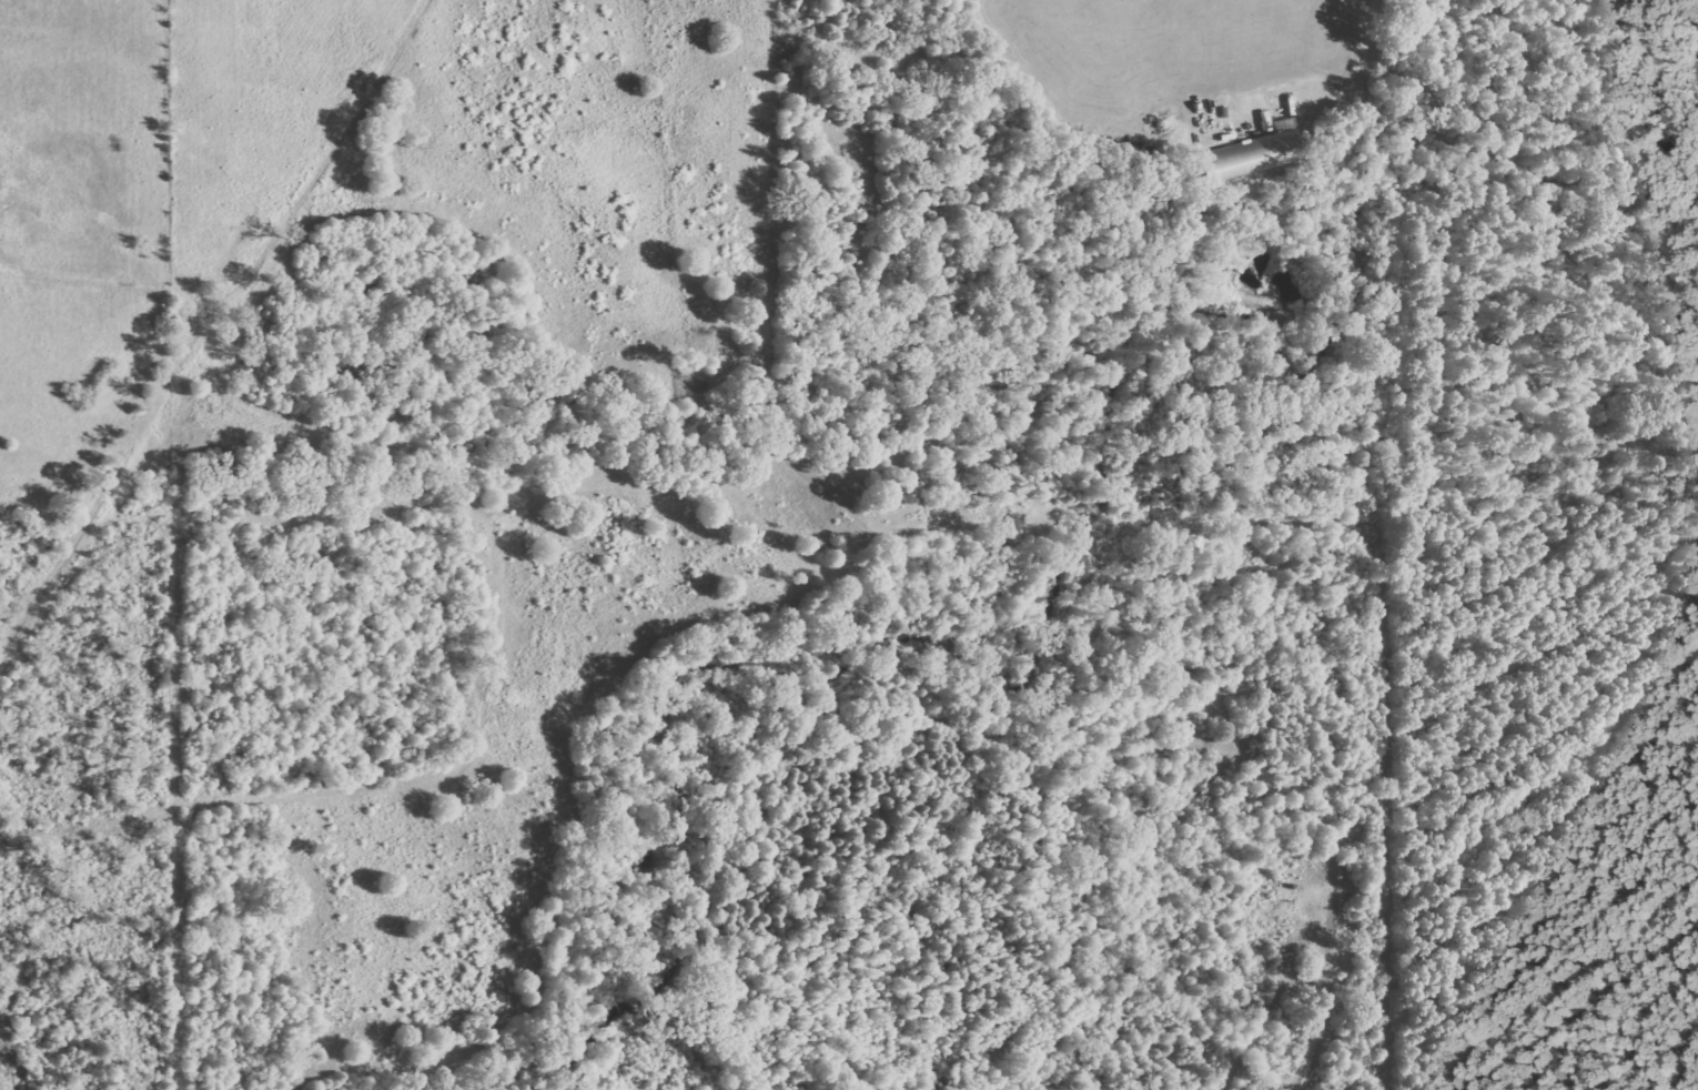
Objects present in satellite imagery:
road: (1366, 69)
building: (1244, 158)

